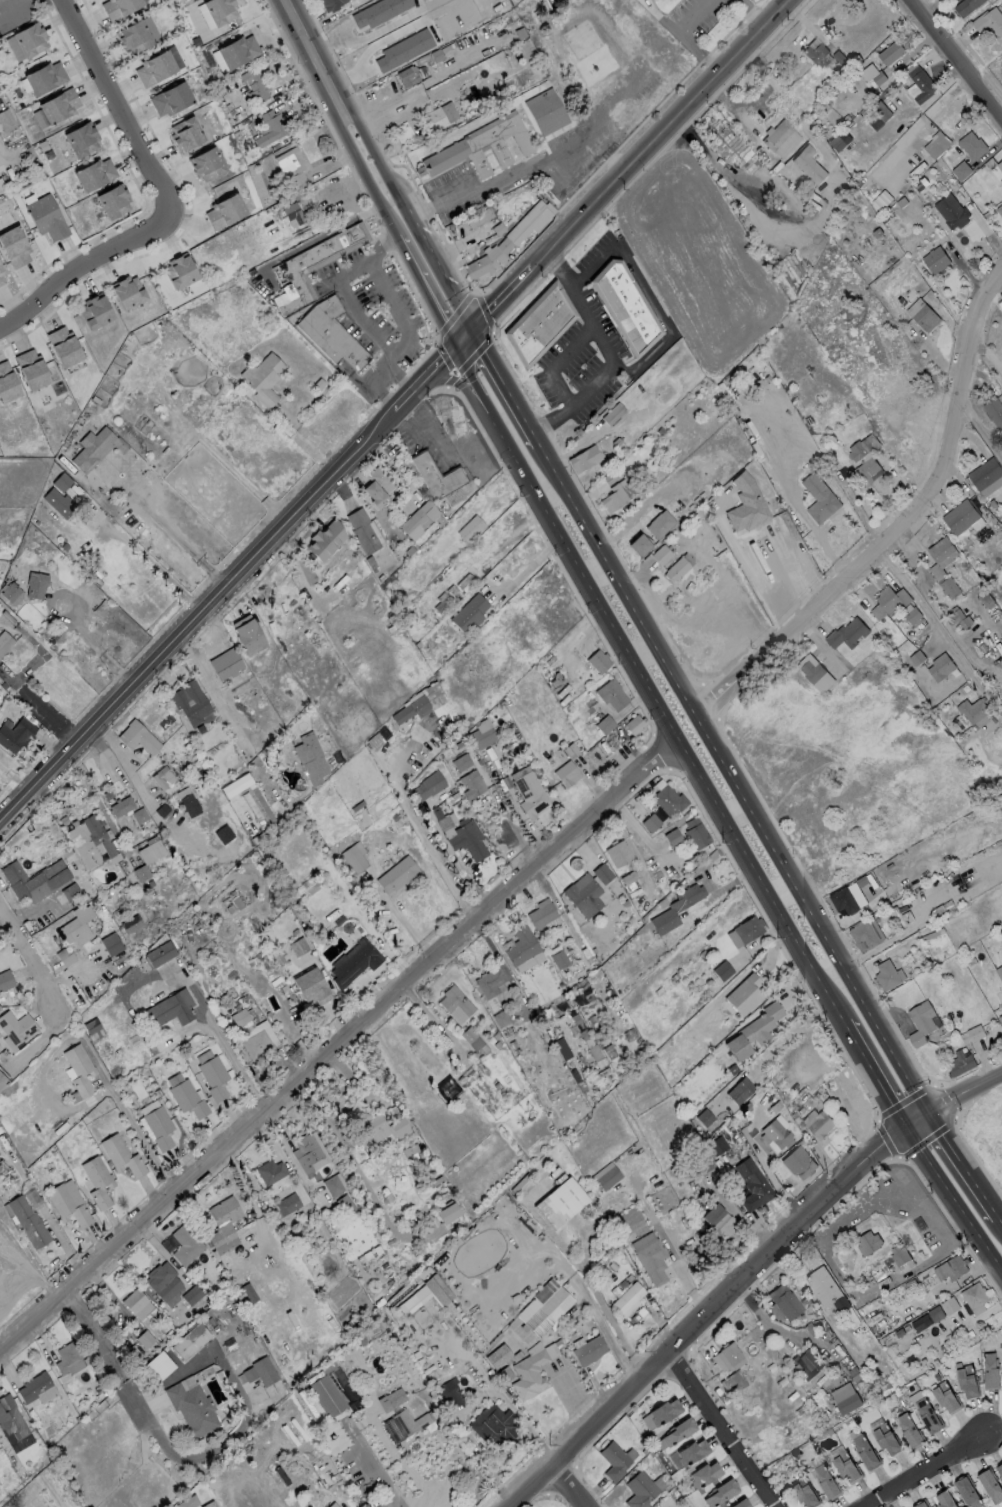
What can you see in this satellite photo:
building: (330, 4)
building: (965, 6)
building: (117, 7)
building: (368, 8)
building: (219, 9)
road: (754, 12)
building: (989, 23)
building: (133, 34)
road: (685, 36)
building: (29, 38)
building: (396, 40)
building: (237, 50)
building: (404, 50)
building: (889, 52)
building: (815, 53)
road: (956, 60)
building: (154, 67)
building: (871, 75)
building: (44, 76)
building: (406, 76)
building: (255, 84)
building: (922, 85)
building: (170, 98)
road: (789, 103)
building: (58, 104)
road: (122, 106)
road: (740, 108)
building: (546, 111)
road: (393, 112)
building: (878, 117)
building: (433, 119)
building: (270, 126)
building: (185, 133)
building: (81, 139)
building: (781, 139)
building: (839, 140)
building: (936, 144)
building: (971, 144)
building: (479, 148)
building: (206, 163)
road: (383, 164)
building: (807, 164)
building: (292, 165)
building: (999, 165)
building: (960, 170)
road: (522, 171)
road: (624, 171)
building: (94, 173)
road: (366, 173)
building: (1, 185)
building: (112, 200)
building: (999, 209)
building: (225, 210)
building: (951, 211)
building: (292, 212)
building: (46, 217)
building: (478, 217)
building: (509, 240)
building: (13, 246)
building: (935, 259)
building: (317, 260)
road: (83, 266)
building: (180, 270)
building: (2, 275)
building: (128, 291)
road: (350, 303)
building: (625, 306)
building: (95, 310)
building: (922, 314)
building: (539, 324)
road: (405, 327)
traffic signals: (474, 328)
building: (330, 333)
building: (63, 343)
traffic signals: (460, 345)
road: (611, 350)
building: (31, 366)
road: (459, 370)
building: (263, 378)
building: (7, 381)
building: (993, 412)
building: (613, 414)
road: (980, 429)
building: (863, 446)
building: (92, 448)
building: (583, 457)
building: (868, 469)
building: (435, 475)
building: (986, 476)
building: (61, 482)
building: (378, 485)
building: (618, 493)
building: (819, 498)
building: (58, 502)
building: (745, 505)
building: (960, 516)
building: (418, 519)
building: (659, 523)
road: (898, 523)
building: (362, 529)
building: (325, 539)
road: (179, 541)
building: (639, 544)
building: (942, 551)
building: (661, 554)
road: (155, 561)
building: (343, 563)
building: (1001, 564)
building: (678, 567)
road: (789, 572)
building: (34, 584)
road: (231, 587)
building: (12, 593)
building: (884, 602)
building: (441, 603)
road: (933, 607)
building: (469, 613)
building: (912, 615)
building: (957, 617)
road: (75, 618)
building: (846, 633)
building: (247, 635)
road: (942, 635)
building: (4, 642)
building: (909, 652)
building: (597, 660)
building: (225, 663)
building: (940, 666)
building: (814, 672)
building: (610, 693)
building: (190, 702)
building: (437, 703)
building: (408, 708)
building: (973, 711)
road: (227, 722)
building: (427, 722)
building: (634, 723)
building: (604, 724)
building: (15, 733)
building: (481, 734)
building: (137, 737)
building: (307, 756)
building: (461, 762)
road: (125, 766)
building: (567, 772)
road: (735, 772)
building: (162, 777)
building: (472, 784)
building: (236, 785)
building: (427, 785)
building: (668, 799)
building: (533, 802)
building: (189, 805)
building: (120, 806)
road: (725, 806)
building: (652, 821)
road: (513, 828)
building: (695, 832)
building: (672, 837)
road: (422, 838)
building: (467, 838)
building: (92, 841)
building: (150, 851)
building: (618, 852)
building: (353, 857)
building: (399, 874)
building: (601, 874)
building: (34, 879)
building: (583, 894)
building: (843, 900)
building: (675, 908)
building: (543, 915)
building: (131, 923)
building: (75, 926)
building: (747, 928)
building: (863, 936)
building: (289, 942)
building: (111, 944)
building: (521, 944)
building: (159, 954)
building: (65, 956)
building: (559, 959)
road: (31, 960)
building: (354, 961)
building: (722, 970)
building: (999, 971)
building: (887, 975)
building: (5, 979)
building: (489, 982)
building: (311, 986)
building: (743, 994)
building: (455, 1004)
building: (1001, 1006)
building: (172, 1007)
building: (1000, 1019)
building: (920, 1022)
building: (15, 1026)
building: (752, 1031)
building: (257, 1039)
building: (474, 1041)
road: (342, 1043)
road: (773, 1043)
building: (960, 1063)
road: (237, 1067)
building: (79, 1068)
building: (212, 1074)
building: (3, 1080)
building: (446, 1087)
building: (739, 1090)
road: (959, 1092)
building: (185, 1095)
traffic signals: (932, 1106)
building: (704, 1117)
traffic signals: (909, 1123)
building: (820, 1125)
building: (159, 1127)
building: (379, 1128)
road: (136, 1132)
building: (775, 1134)
building: (716, 1145)
building: (307, 1153)
building: (121, 1156)
building: (798, 1162)
building: (701, 1164)
building: (270, 1171)
building: (606, 1176)
road: (241, 1180)
building: (97, 1181)
building: (333, 1185)
building: (752, 1185)
building: (68, 1202)
building: (560, 1202)
building: (287, 1204)
building: (447, 1212)
building: (28, 1221)
building: (718, 1223)
building: (223, 1225)
building: (868, 1242)
building: (185, 1244)
building: (362, 1247)
building: (898, 1255)
building: (652, 1260)
building: (950, 1268)
building: (161, 1281)
building: (823, 1286)
building: (245, 1291)
building: (973, 1295)
building: (628, 1299)
building: (133, 1300)
building: (782, 1302)
building: (543, 1306)
road: (716, 1311)
building: (850, 1321)
road: (606, 1332)
building: (190, 1341)
building: (589, 1350)
building: (727, 1356)
building: (67, 1359)
building: (762, 1360)
building: (807, 1362)
building: (989, 1371)
building: (259, 1372)
building: (529, 1374)
building: (775, 1374)
building: (967, 1381)
building: (36, 1388)
building: (784, 1388)
building: (448, 1393)
building: (325, 1395)
building: (946, 1397)
building: (845, 1398)
building: (390, 1399)
building: (191, 1409)
building: (663, 1411)
building: (927, 1415)
building: (10, 1418)
building: (403, 1424)
building: (492, 1424)
road: (731, 1427)
building: (909, 1430)
building: (678, 1431)
building: (886, 1439)
road: (162, 1443)
building: (691, 1451)
building: (865, 1452)
building: (613, 1461)
building: (845, 1467)
road: (926, 1470)
building: (999, 1470)
building: (703, 1474)
road: (370, 1477)
road: (581, 1481)
building: (826, 1482)
building: (990, 1485)
building: (639, 1490)
building: (720, 1492)
building: (803, 1492)
building: (968, 1492)
building: (945, 1499)
building: (739, 1503)
building: (920, 1504)
building: (211, 1505)
building: (332, 1505)

